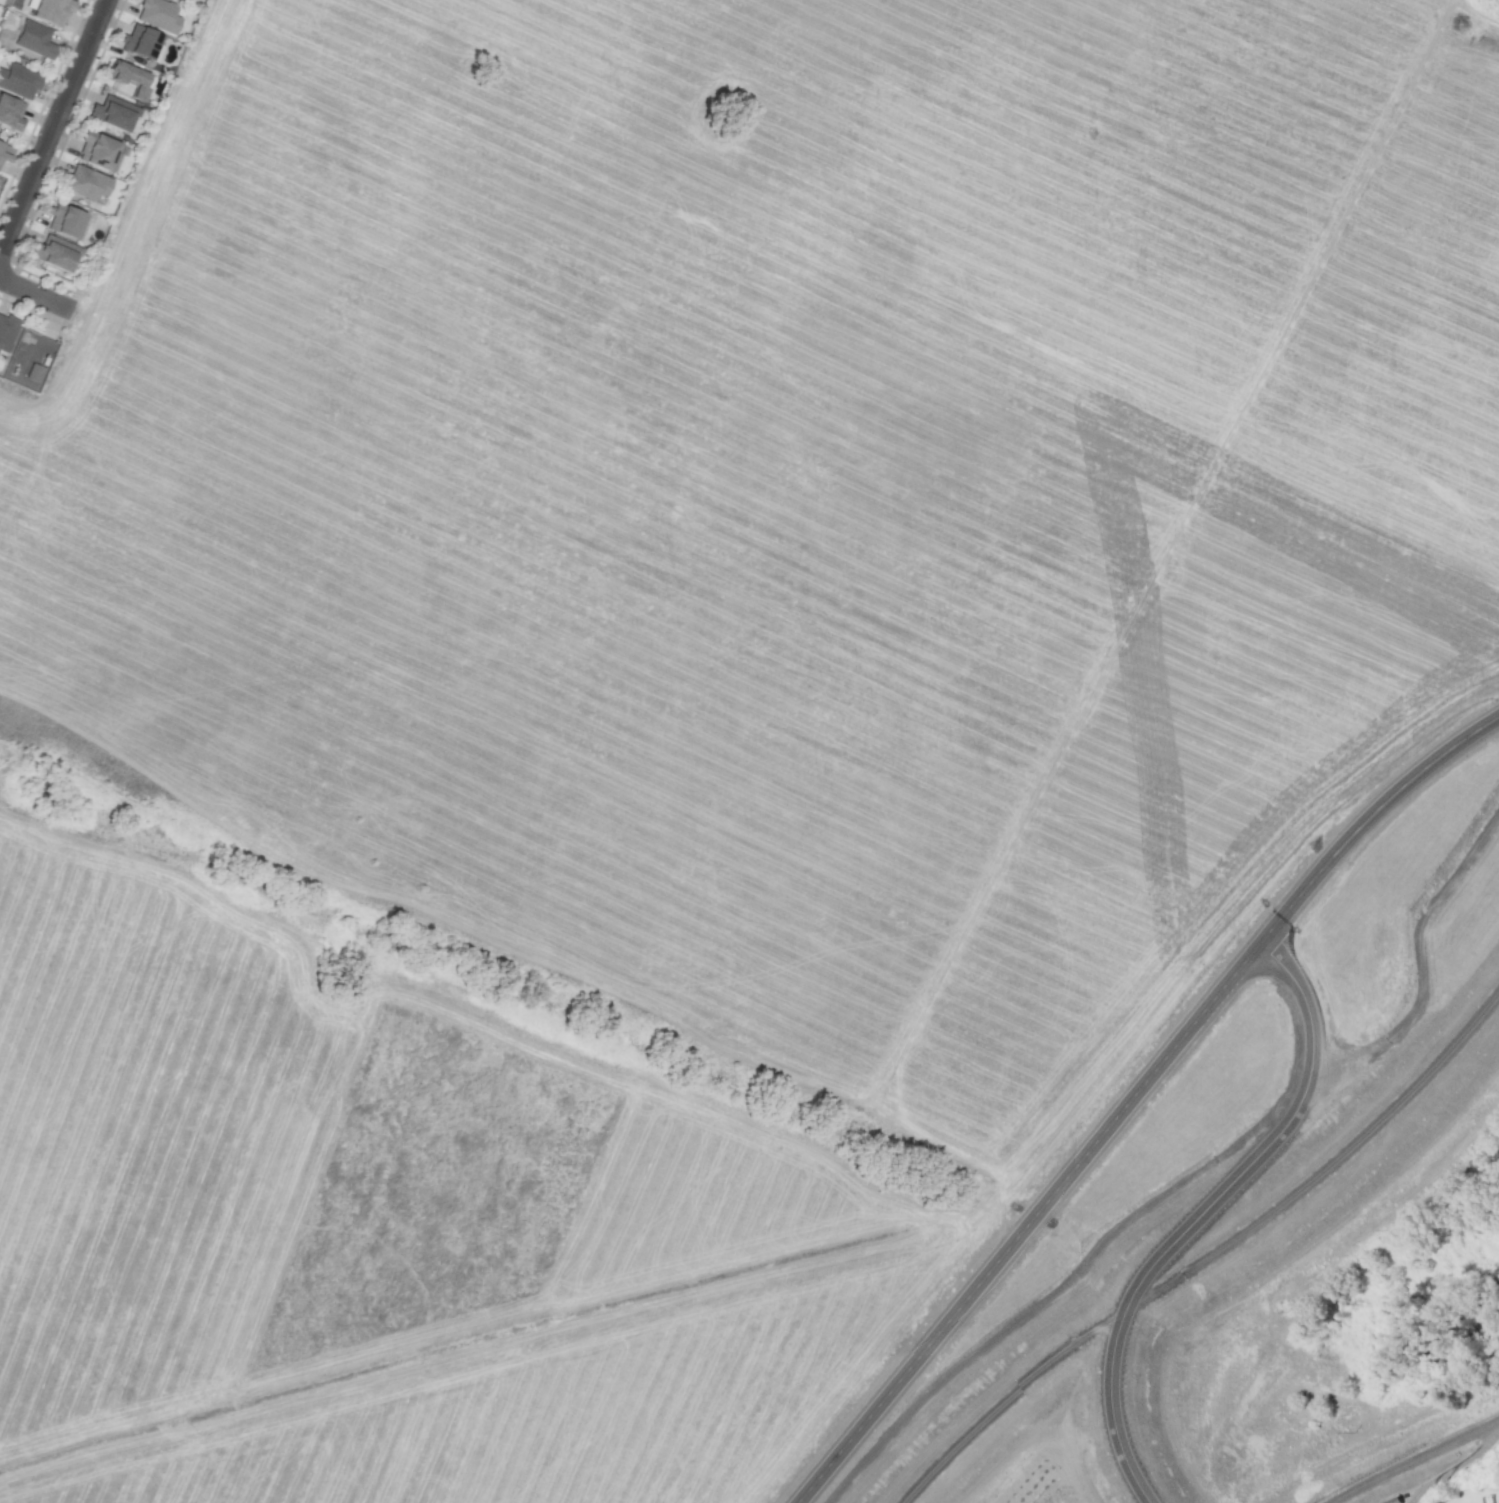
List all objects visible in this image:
building: (48, 9)
building: (157, 15)
building: (33, 38)
building: (138, 41)
building: (130, 78)
building: (18, 80)
building: (6, 109)
building: (112, 112)
road: (52, 123)
building: (97, 150)
building: (4, 152)
building: (86, 182)
building: (63, 220)
building: (55, 253)
road: (35, 292)
road: (1298, 301)
road: (54, 321)
building: (6, 331)
building: (30, 357)
crop: (664, 447)
road: (1015, 834)
road: (529, 967)
road: (1134, 1097)
road: (1200, 1214)
road: (1417, 1458)
road: (1454, 1465)

